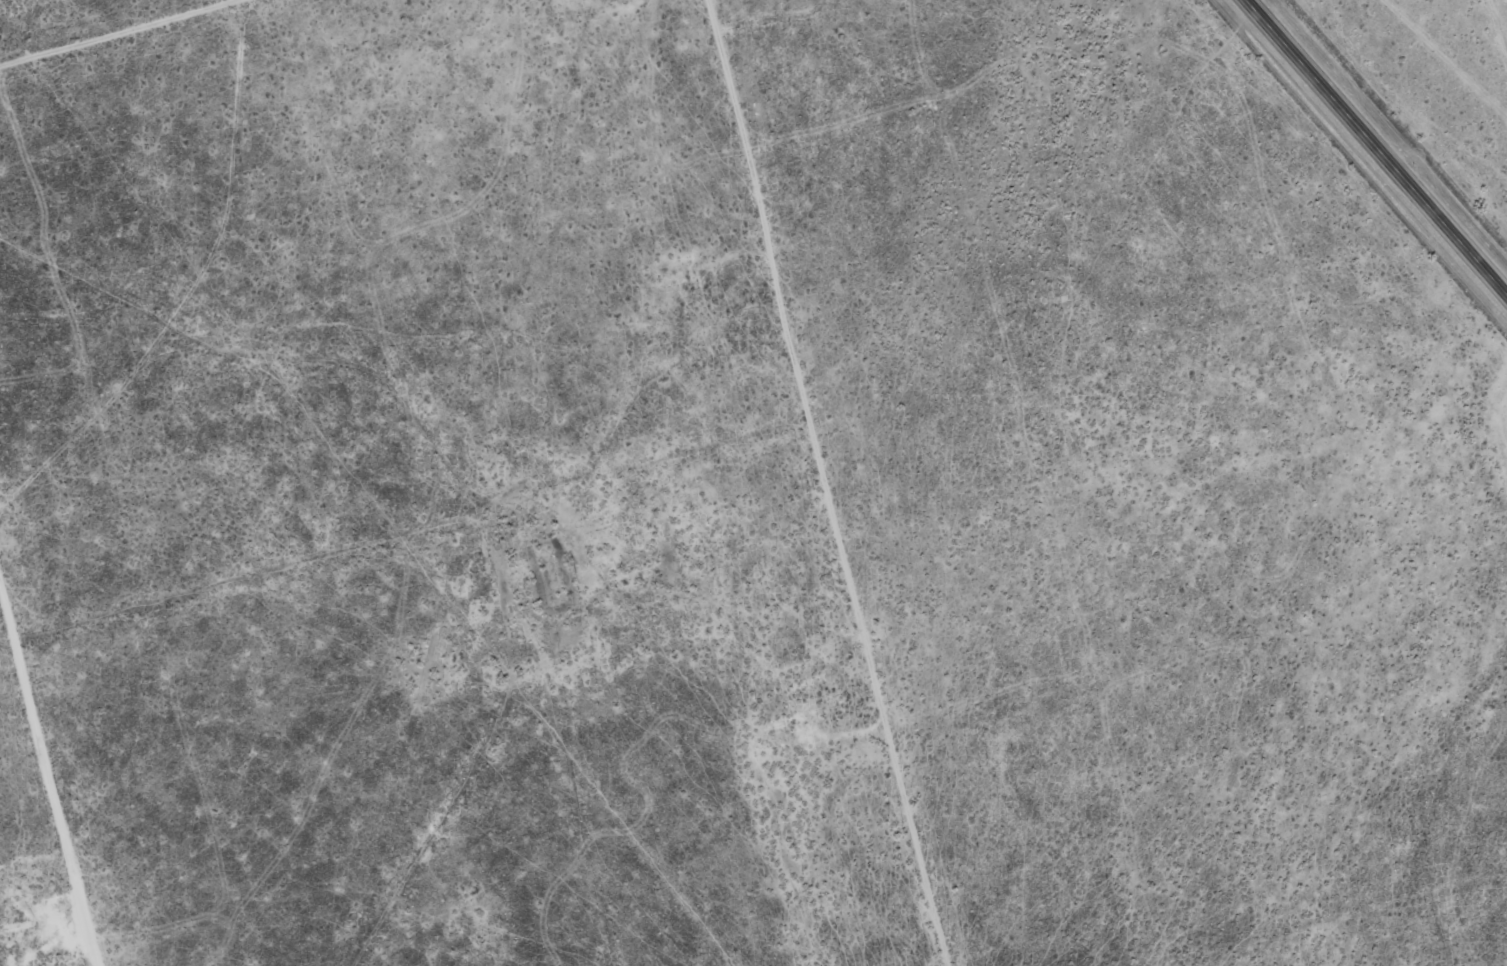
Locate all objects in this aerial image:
road: (1374, 150)

